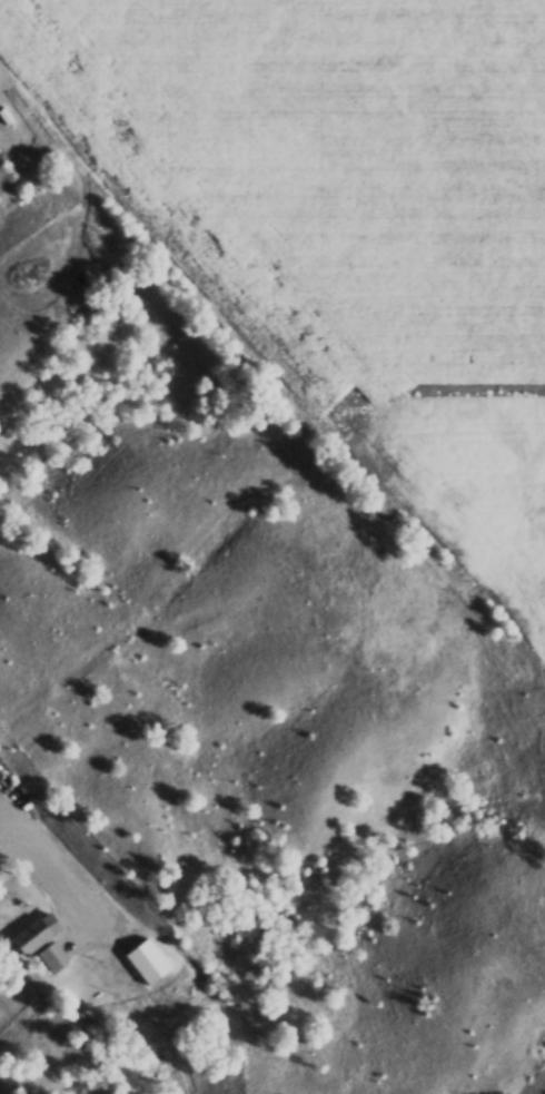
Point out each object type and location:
park: (1, 69)
building: (4, 114)
road: (57, 860)
building: (49, 921)
building: (67, 947)
building: (158, 953)
building: (52, 956)

